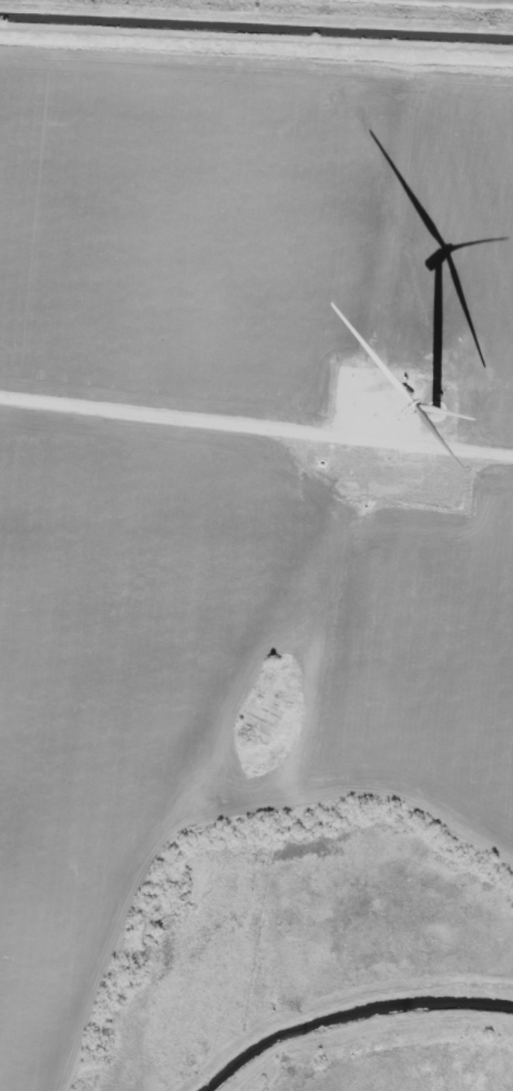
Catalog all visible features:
wind turbine: (437, 406)
building: (259, 720)

